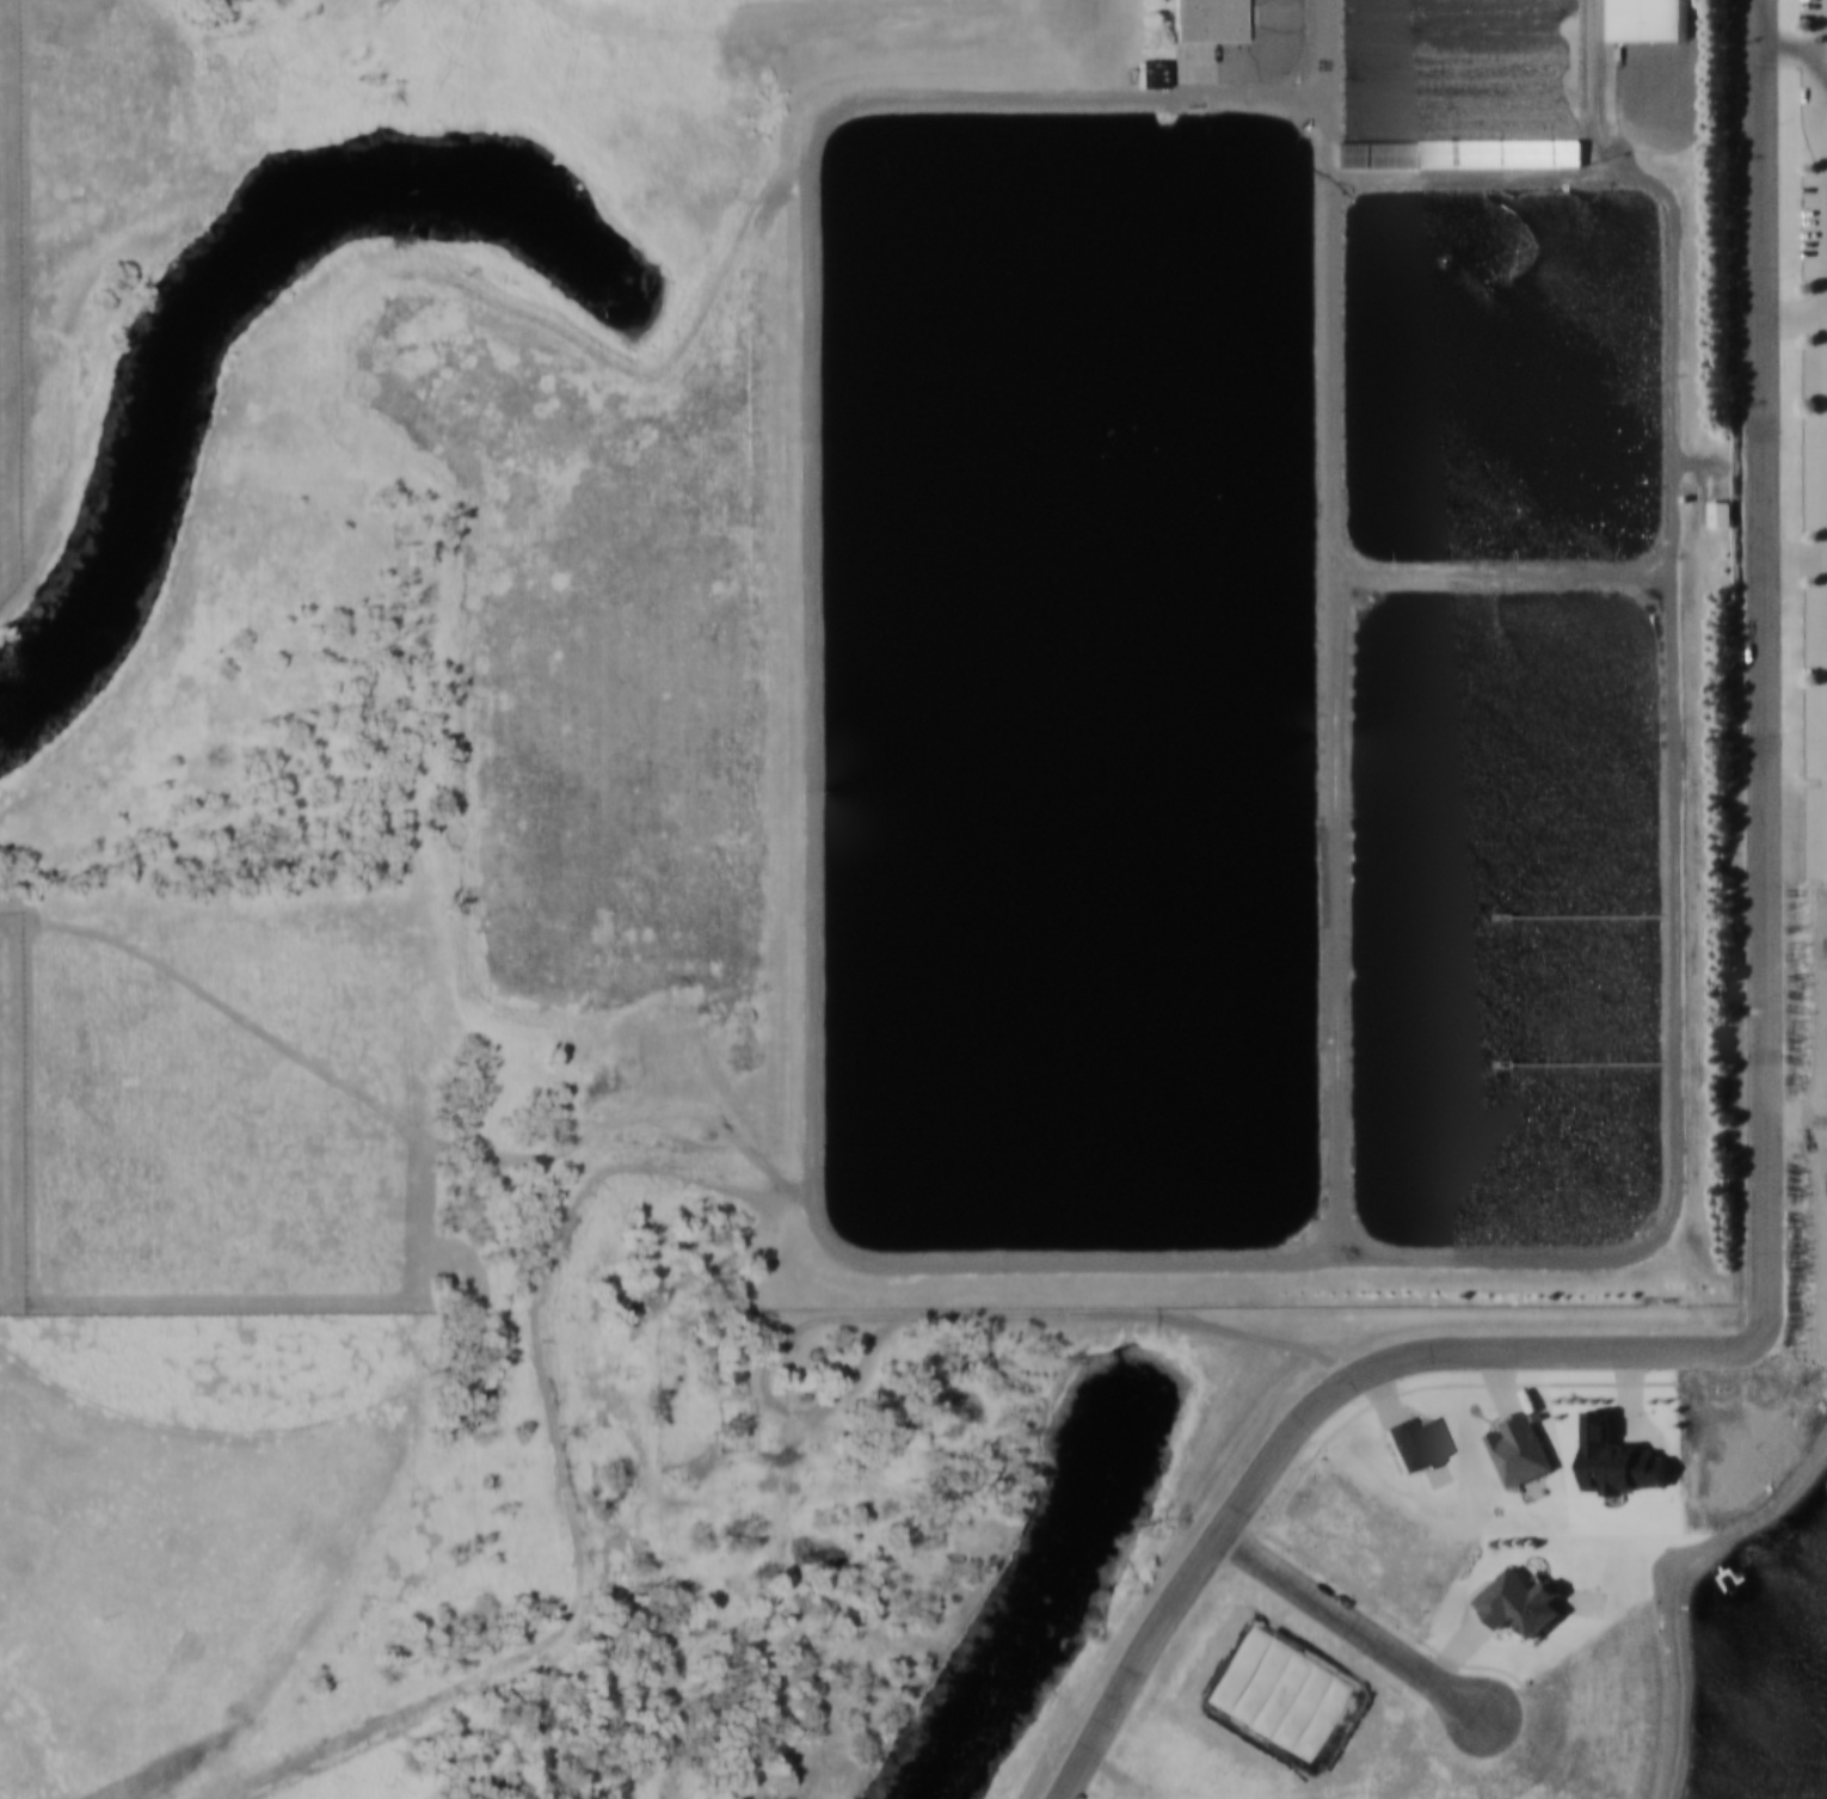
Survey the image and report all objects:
building: (1206, 19)
building: (1650, 19)
building: (1149, 73)
building: (1459, 152)
building: (1721, 512)
road: (1765, 1122)
road: (1105, 1316)
building: (814, 1351)
building: (1414, 1443)
building: (1519, 1601)
road: (1349, 1620)

